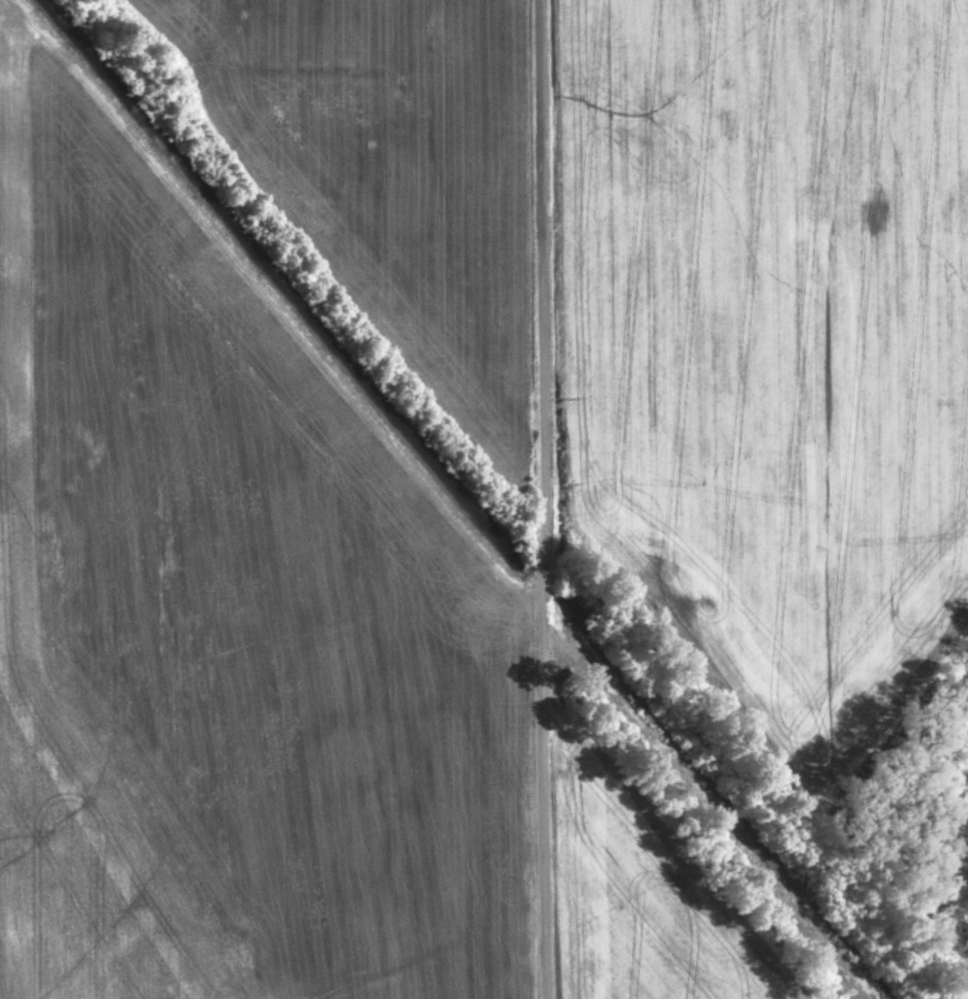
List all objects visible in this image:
road: (538, 499)

